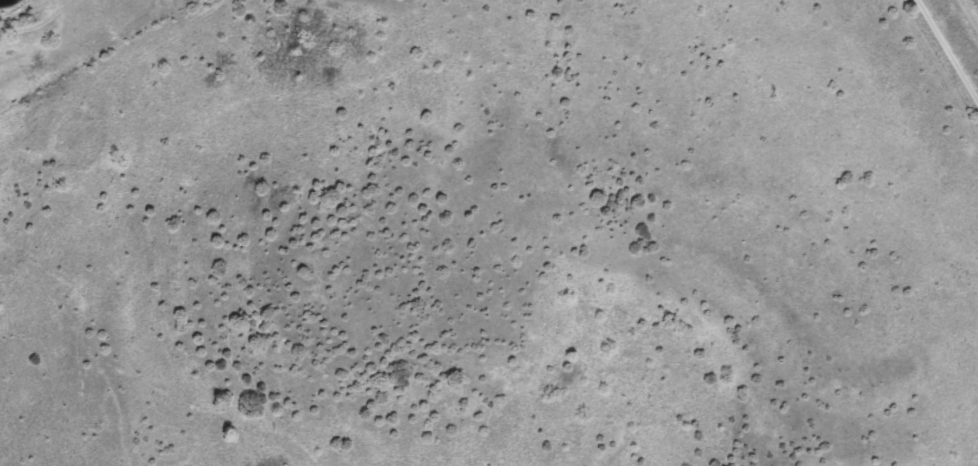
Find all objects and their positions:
road: (945, 56)

